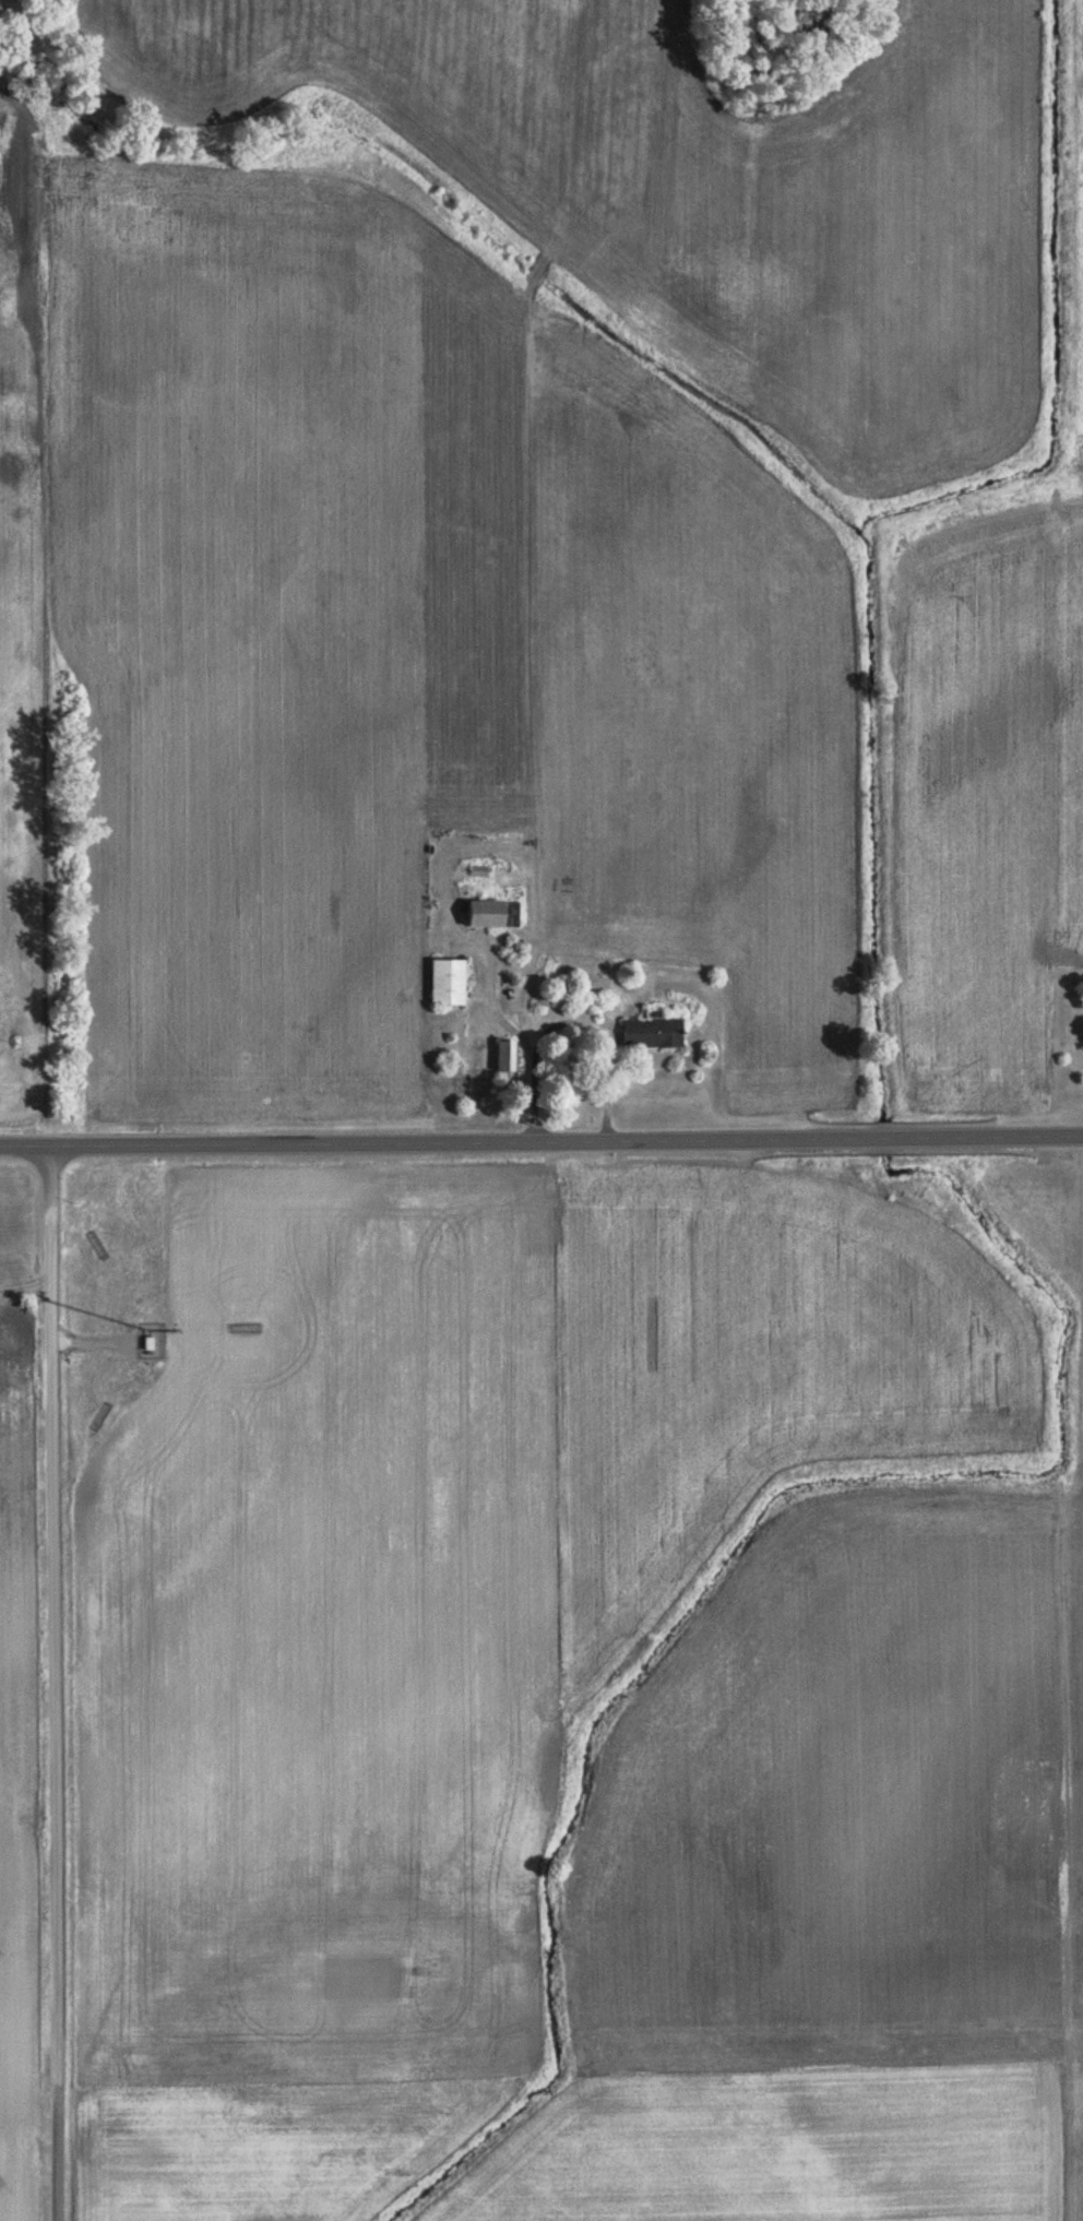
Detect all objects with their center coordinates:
crop: (21, 656)
building: (486, 912)
building: (448, 981)
building: (652, 1030)
road: (541, 1144)
road: (56, 1614)
crop: (428, 1624)
crop: (14, 1774)
crop: (842, 1902)
road: (56, 2150)

